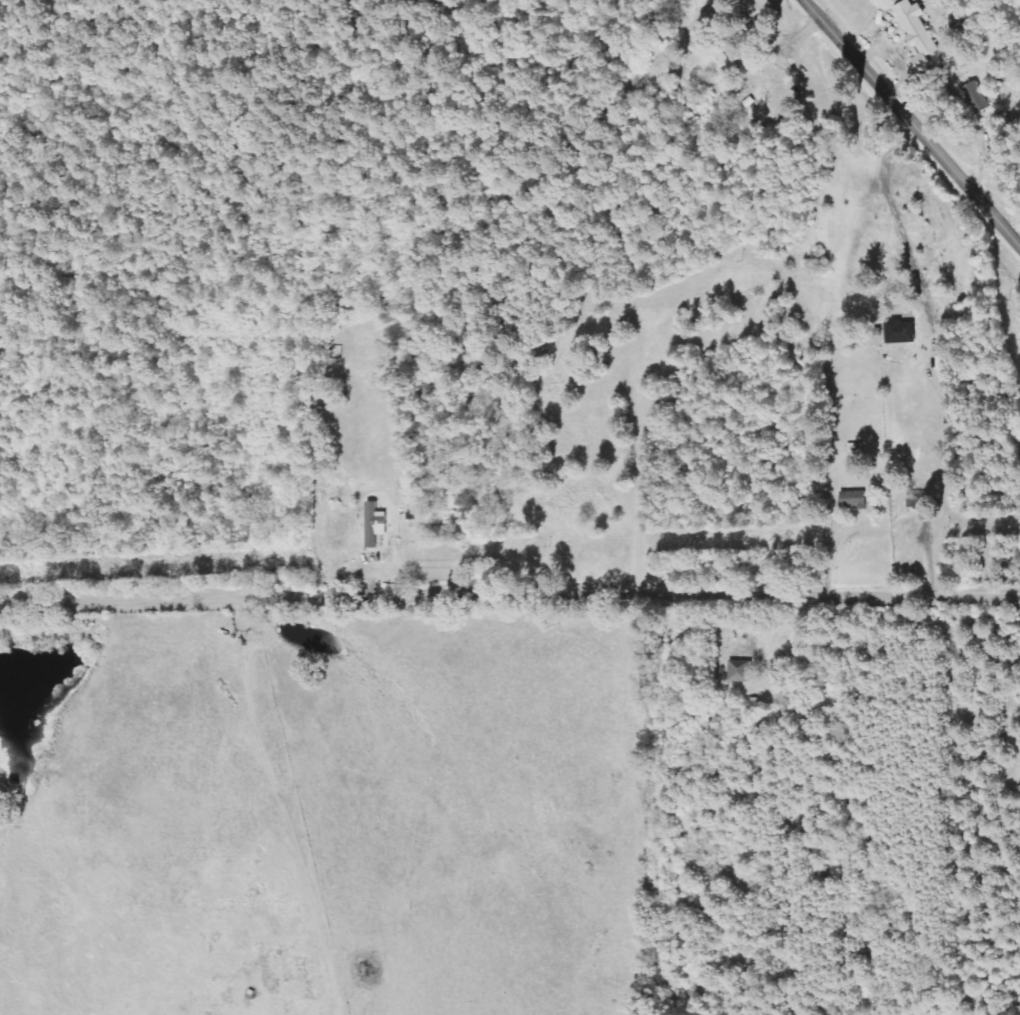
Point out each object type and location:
building: (914, 26)
building: (720, 63)
building: (976, 97)
road: (911, 123)
road: (812, 306)
building: (900, 330)
building: (916, 499)
building: (853, 500)
building: (374, 524)
road: (962, 525)
road: (889, 528)
road: (916, 570)
road: (1006, 570)
road: (859, 612)
road: (510, 620)
building: (740, 673)

